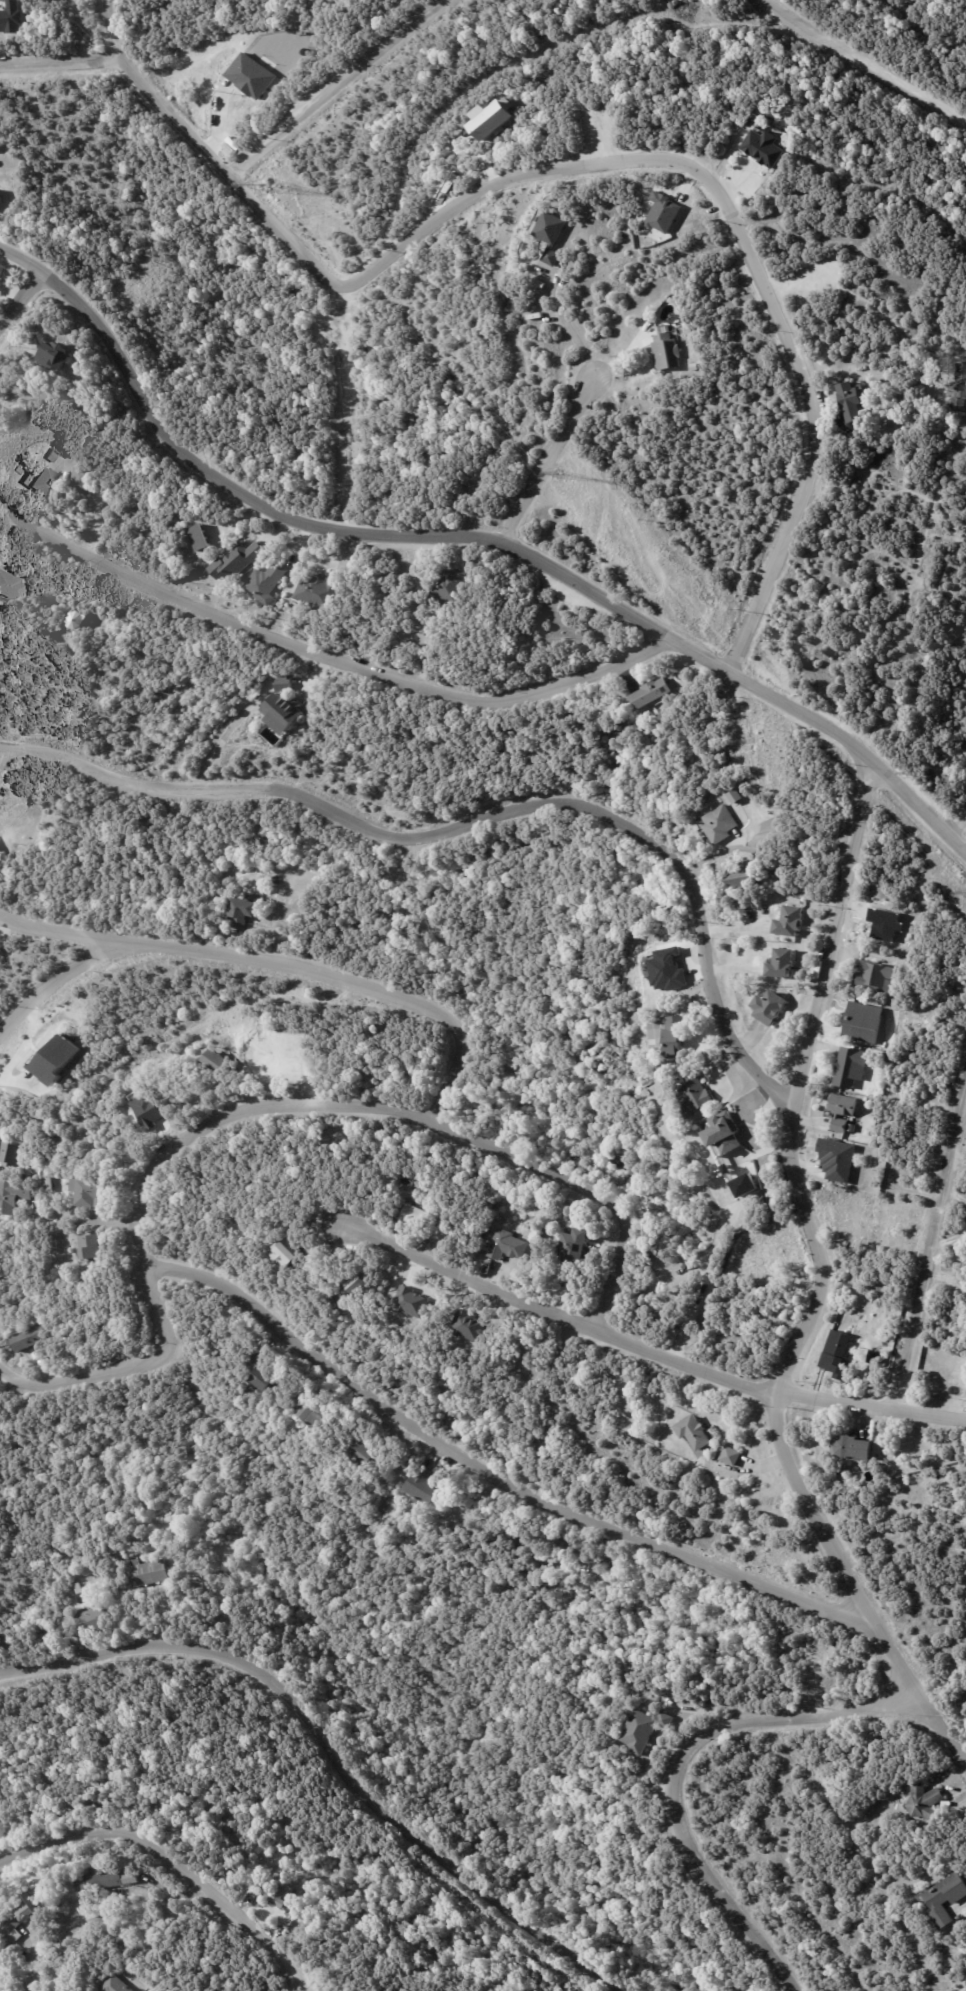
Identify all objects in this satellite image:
building: (12, 16)
road: (314, 41)
road: (864, 63)
road: (57, 64)
building: (250, 75)
road: (335, 86)
building: (491, 118)
road: (599, 145)
building: (761, 147)
power tower: (268, 185)
building: (1, 194)
building: (550, 235)
road: (307, 259)
road: (796, 281)
road: (20, 296)
road: (571, 327)
building: (665, 352)
building: (63, 355)
road: (799, 366)
building: (958, 388)
building: (848, 400)
building: (850, 433)
building: (53, 458)
road: (547, 459)
power tower: (561, 473)
building: (85, 481)
building: (47, 483)
building: (198, 537)
road: (469, 539)
building: (247, 560)
building: (274, 583)
building: (448, 583)
building: (14, 587)
building: (322, 591)
building: (73, 605)
building: (81, 620)
road: (329, 653)
building: (650, 693)
building: (288, 708)
road: (1, 756)
building: (733, 797)
road: (479, 820)
building: (718, 824)
road: (961, 827)
building: (767, 869)
building: (742, 875)
building: (249, 914)
building: (789, 923)
building: (780, 965)
road: (284, 967)
building: (875, 977)
road: (56, 979)
building: (769, 1008)
building: (862, 1021)
building: (666, 1036)
building: (56, 1059)
building: (221, 1059)
building: (850, 1068)
building: (691, 1095)
road: (267, 1104)
building: (153, 1106)
building: (841, 1112)
building: (852, 1128)
building: (720, 1135)
building: (15, 1153)
building: (836, 1161)
building: (723, 1172)
building: (52, 1184)
building: (740, 1189)
building: (93, 1191)
building: (17, 1197)
building: (414, 1217)
road: (69, 1222)
building: (98, 1246)
building: (506, 1246)
building: (570, 1248)
road: (927, 1248)
building: (292, 1254)
building: (355, 1283)
building: (364, 1285)
road: (818, 1288)
building: (410, 1301)
building: (344, 1305)
building: (468, 1326)
building: (32, 1338)
road: (647, 1349)
building: (836, 1355)
building: (872, 1358)
building: (268, 1373)
building: (316, 1413)
building: (699, 1432)
building: (850, 1447)
building: (371, 1453)
building: (733, 1456)
road: (489, 1478)
building: (431, 1486)
building: (137, 1559)
building: (154, 1574)
building: (78, 1588)
building: (99, 1621)
building: (644, 1728)
road: (341, 1749)
road: (681, 1769)
building: (923, 1800)
road: (173, 1865)
building: (105, 1881)
building: (279, 1894)
building: (944, 1897)
building: (23, 1916)
building: (117, 1984)

